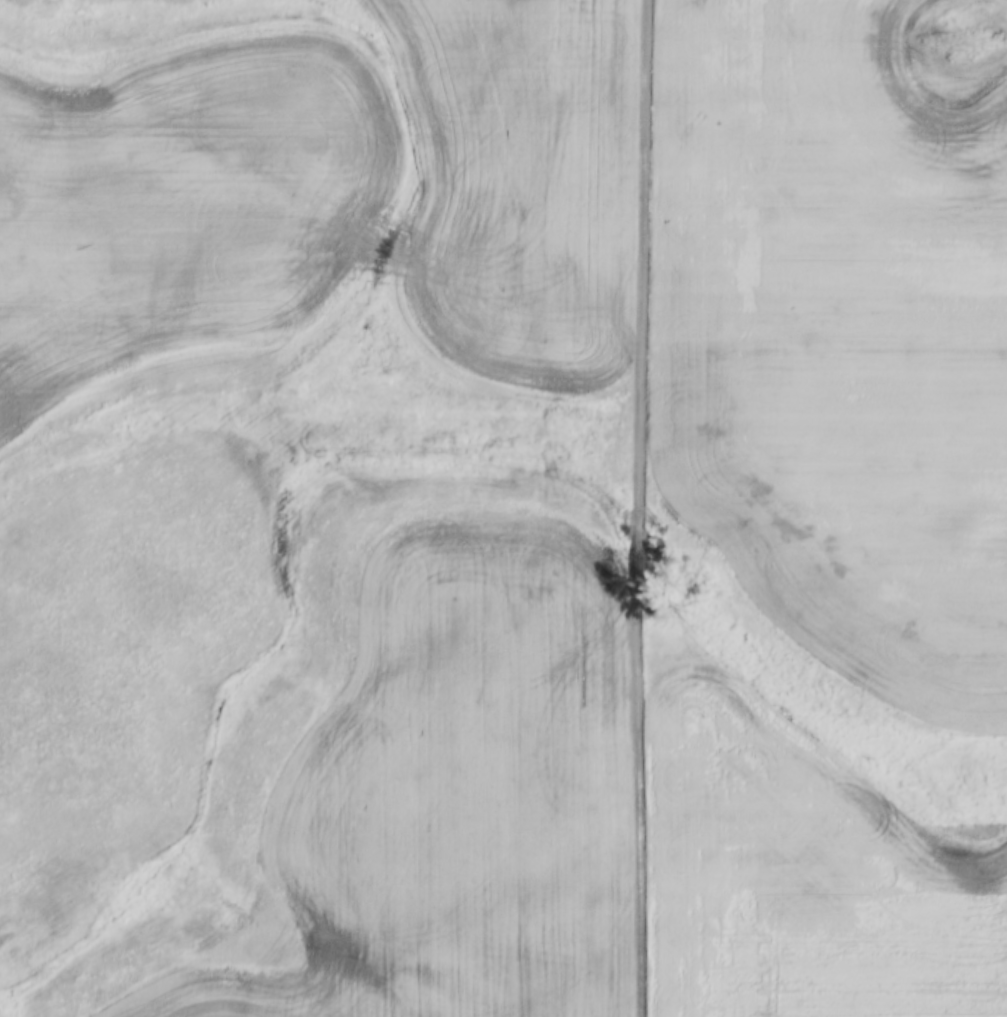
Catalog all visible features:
road: (641, 508)

